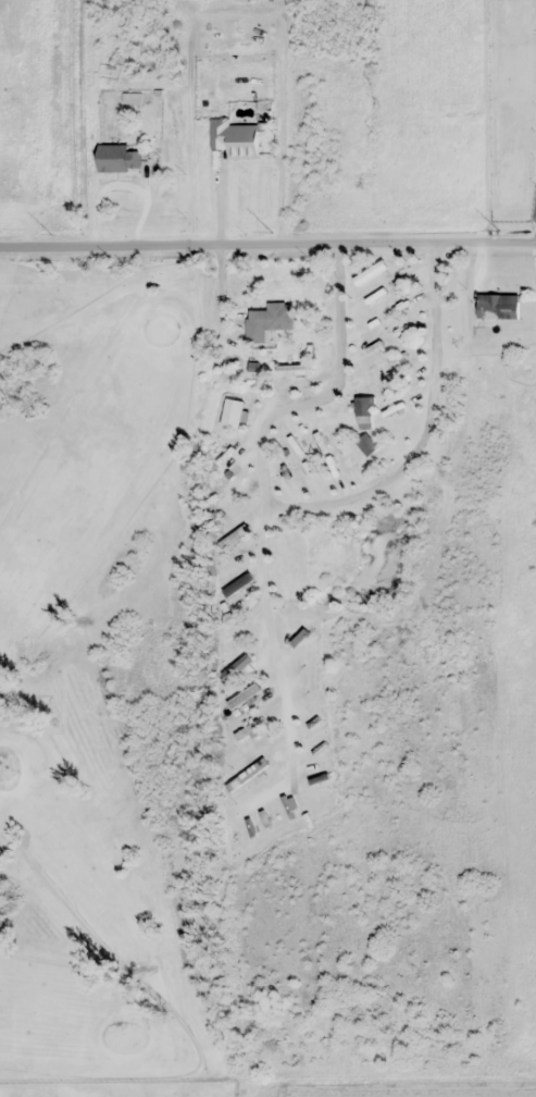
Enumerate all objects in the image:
building: (235, 138)
building: (117, 159)
road: (267, 235)
building: (370, 273)
road: (511, 276)
building: (497, 308)
building: (267, 321)
building: (292, 378)
building: (364, 412)
road: (416, 442)
building: (366, 444)
road: (497, 485)
building: (227, 497)
building: (232, 539)
building: (238, 583)
building: (236, 637)
building: (237, 670)
building: (245, 699)
building: (248, 732)
building: (247, 776)

